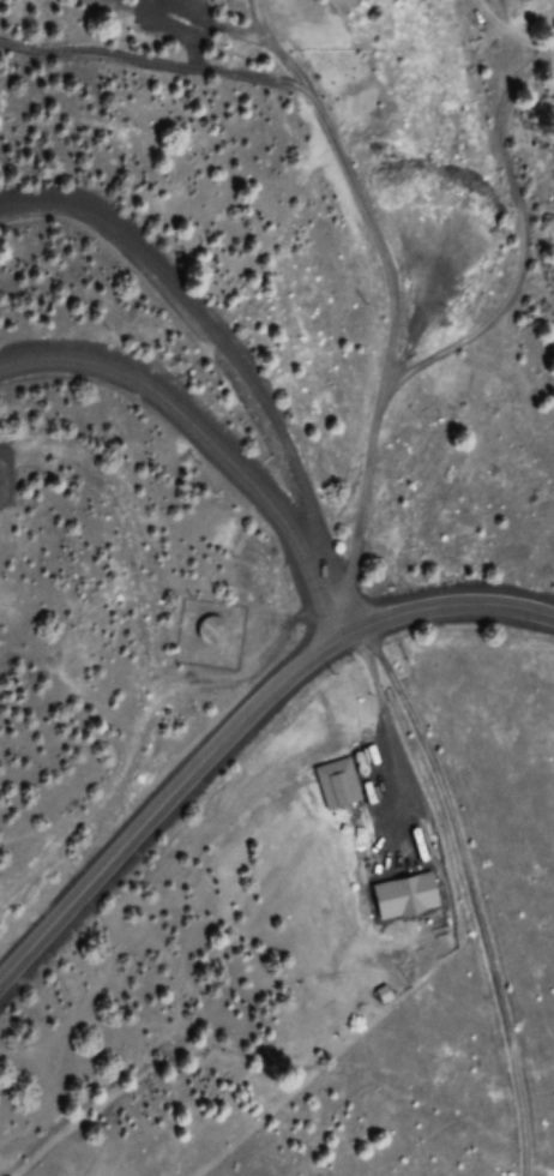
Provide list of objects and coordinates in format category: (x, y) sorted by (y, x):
road: (506, 32)
road: (153, 61)
road: (525, 247)
road: (391, 269)
road: (219, 336)
road: (211, 437)
building: (212, 629)
road: (242, 727)
building: (338, 785)
road: (470, 892)

